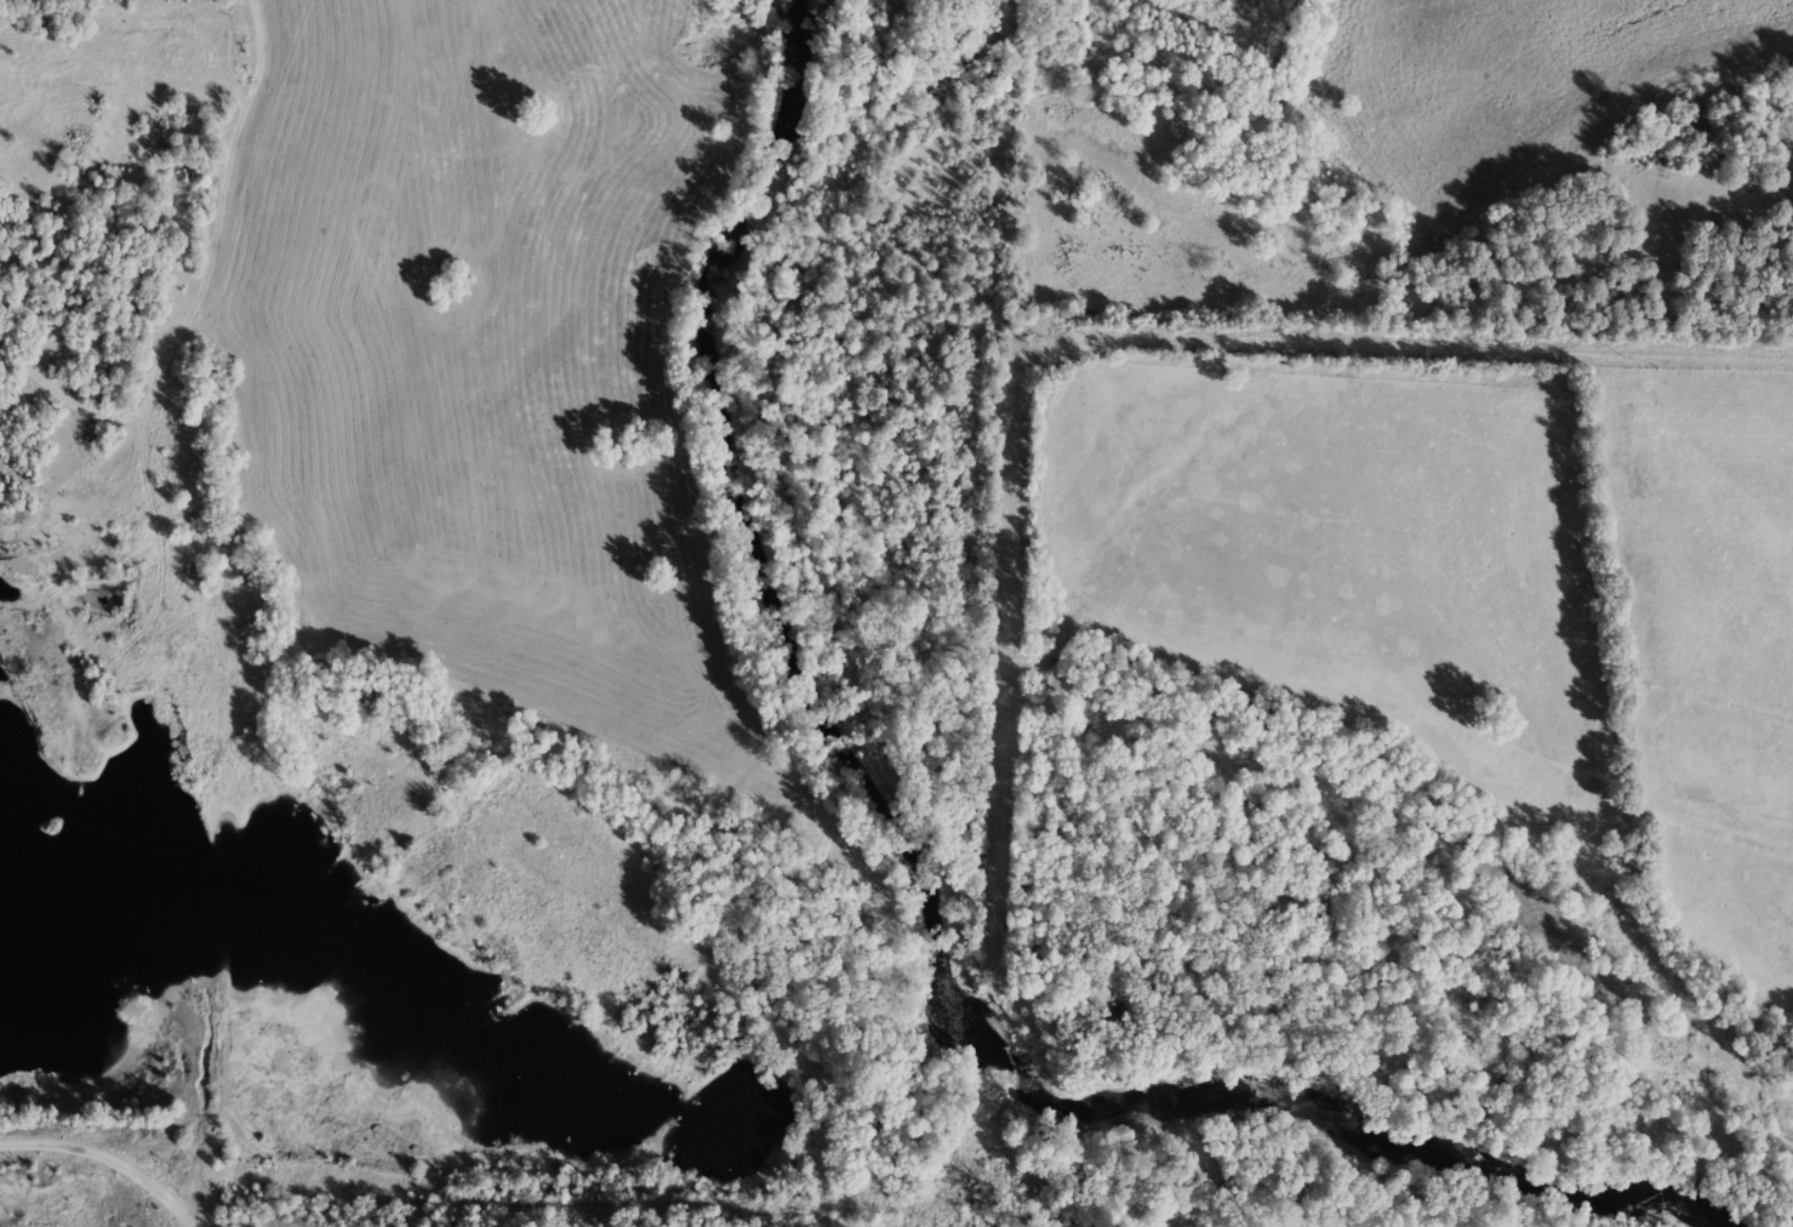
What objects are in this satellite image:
road: (110, 1164)

